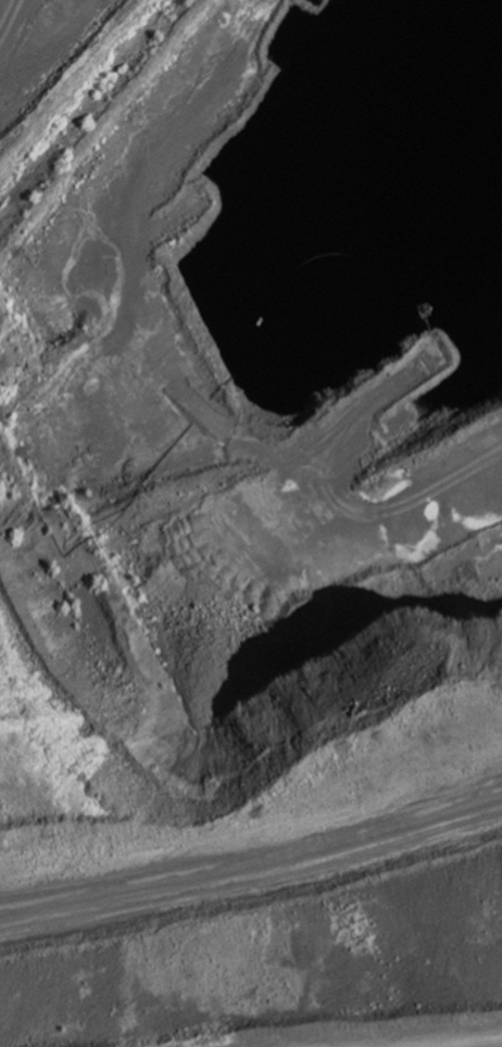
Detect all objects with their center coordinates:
quarry: (251, 523)
road: (113, 772)
road: (495, 1046)

